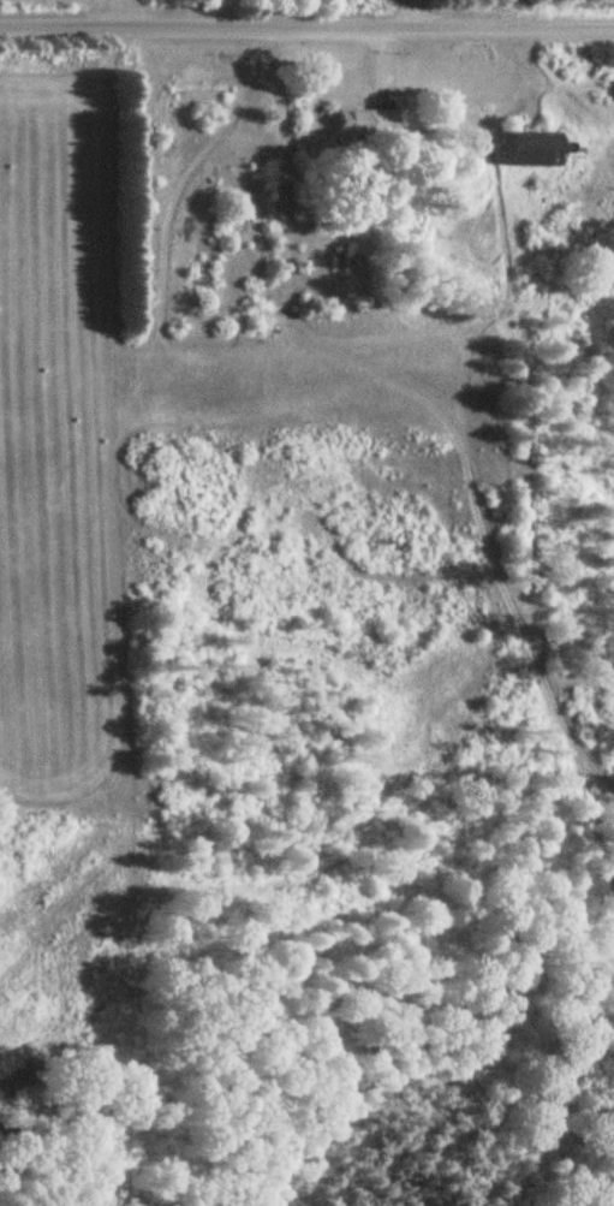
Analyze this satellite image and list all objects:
road: (306, 25)
building: (352, 123)
building: (526, 153)
building: (202, 231)

